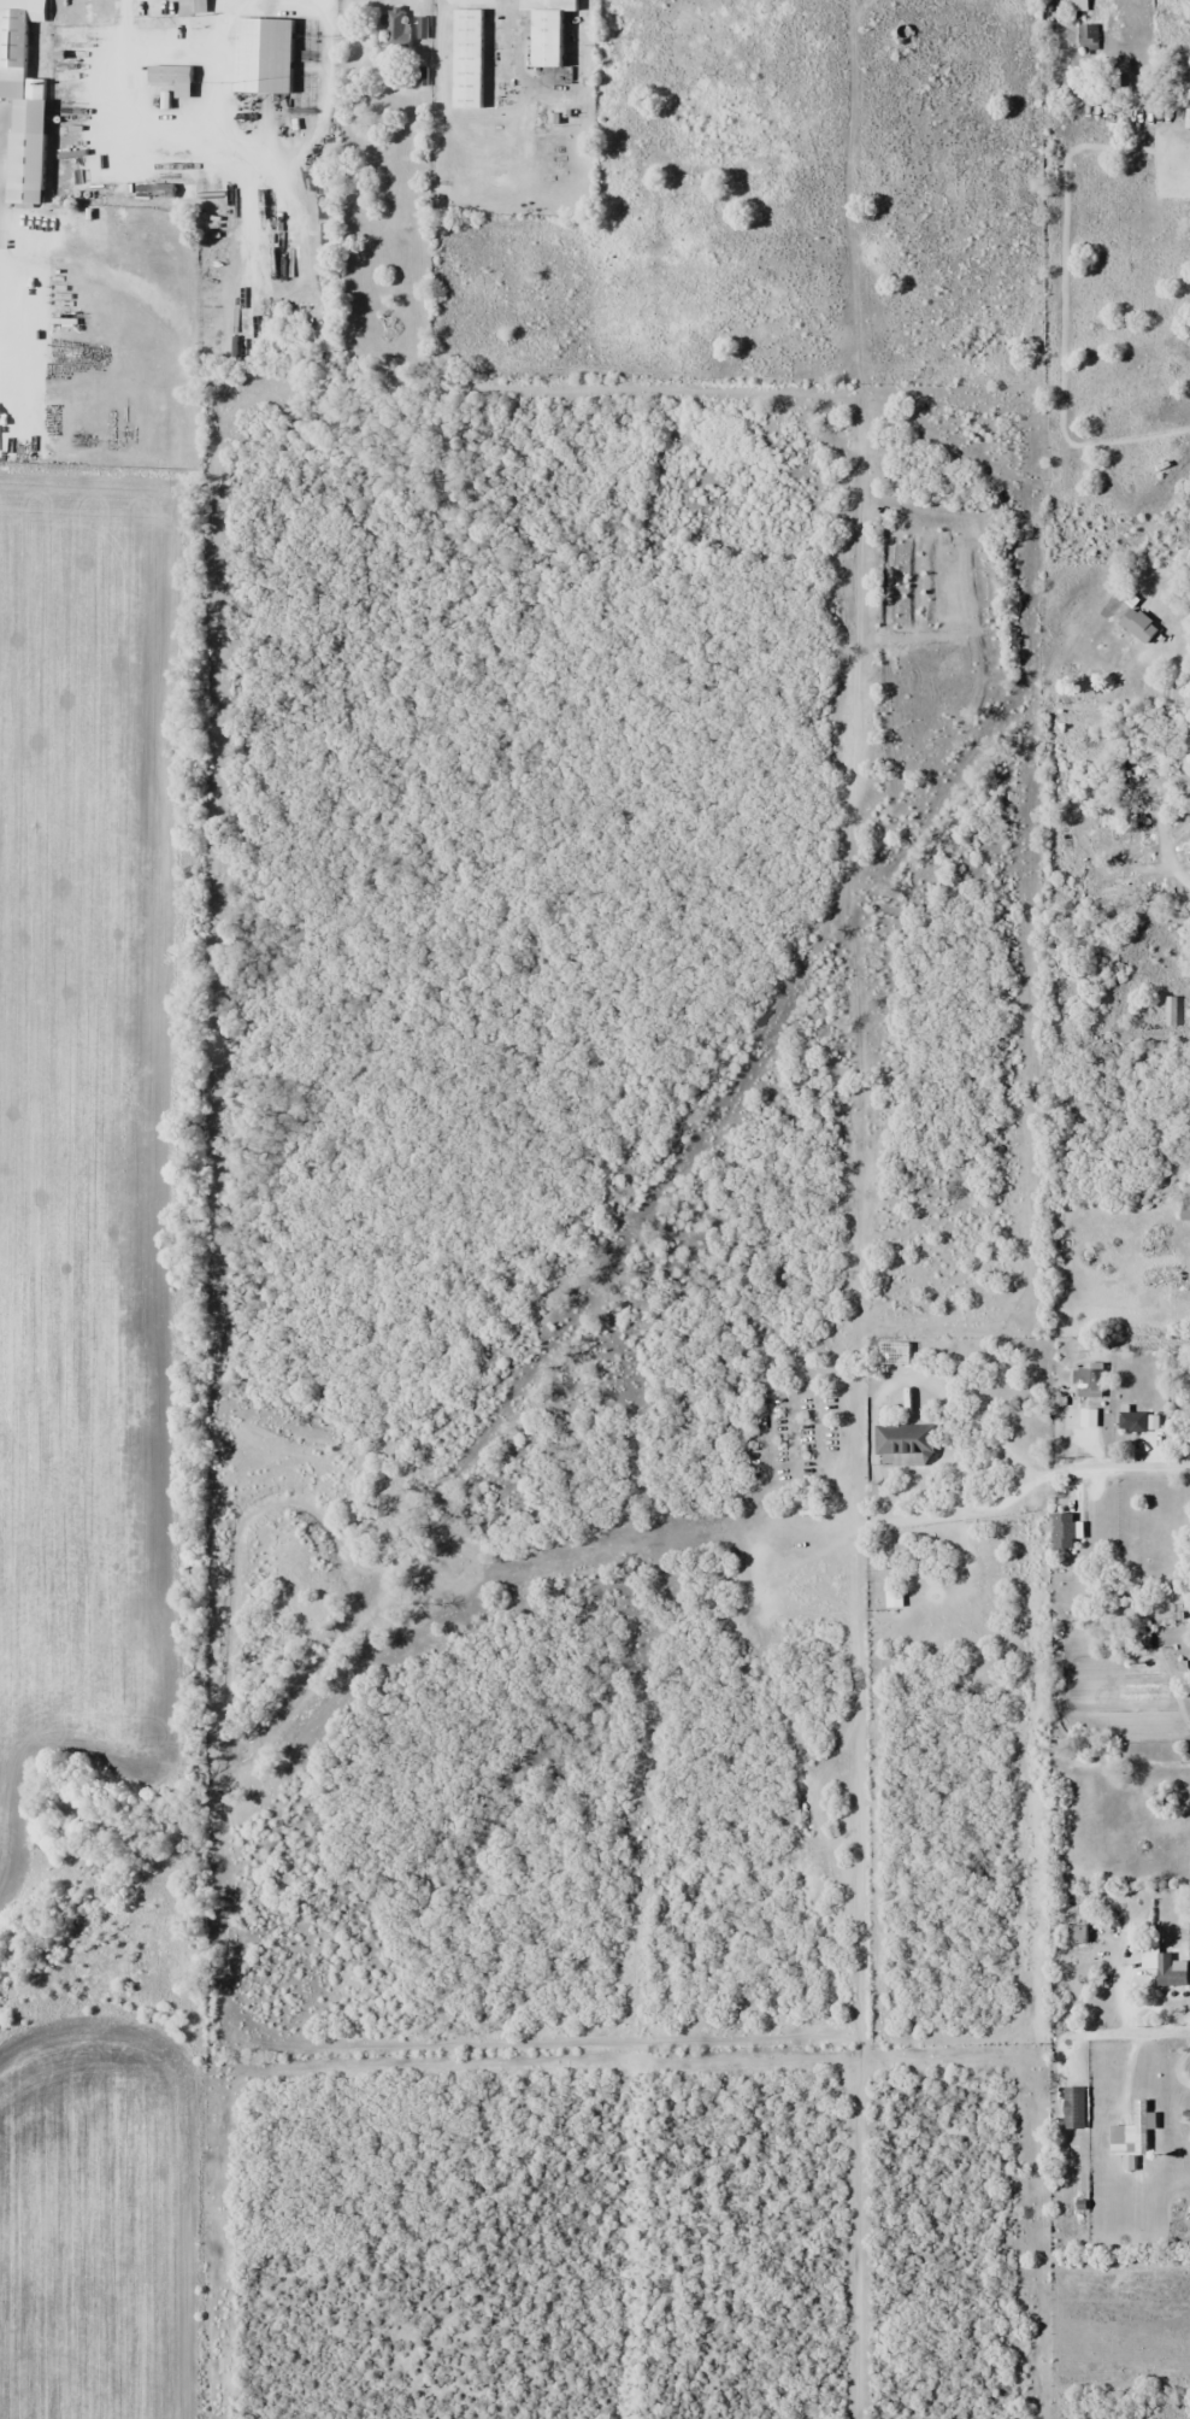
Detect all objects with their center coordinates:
building: (1073, 5)
building: (204, 6)
building: (555, 29)
building: (1085, 36)
building: (18, 49)
building: (269, 55)
building: (475, 59)
building: (176, 77)
road: (1179, 575)
building: (1136, 624)
building: (1183, 1211)
building: (1085, 1381)
building: (1136, 1421)
building: (902, 1444)
road: (1142, 1466)
building: (1074, 1933)
building: (1161, 1968)
building: (1189, 1975)
road: (1132, 2033)
building: (1071, 2107)
building: (1131, 2132)

